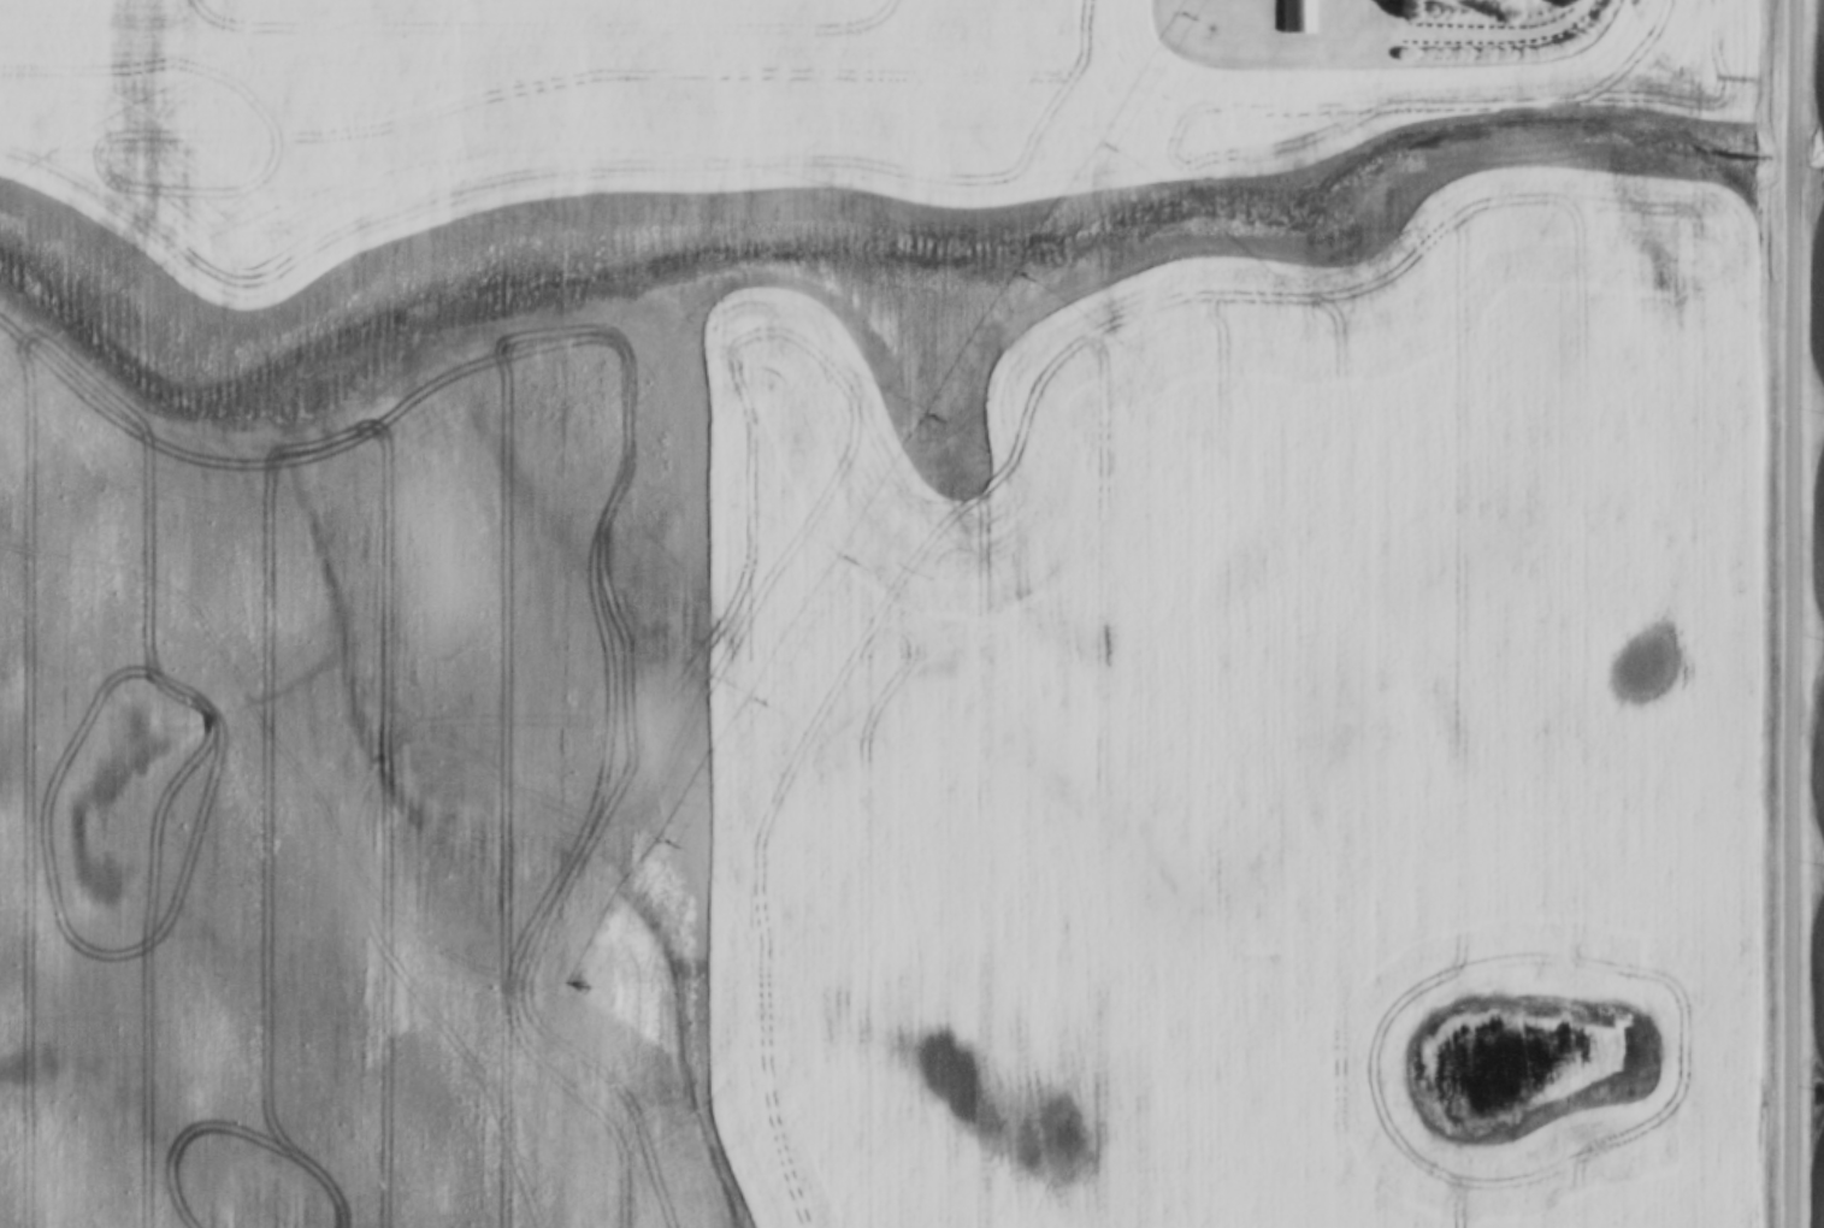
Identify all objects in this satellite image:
building: (1298, 14)
road: (1790, 613)

